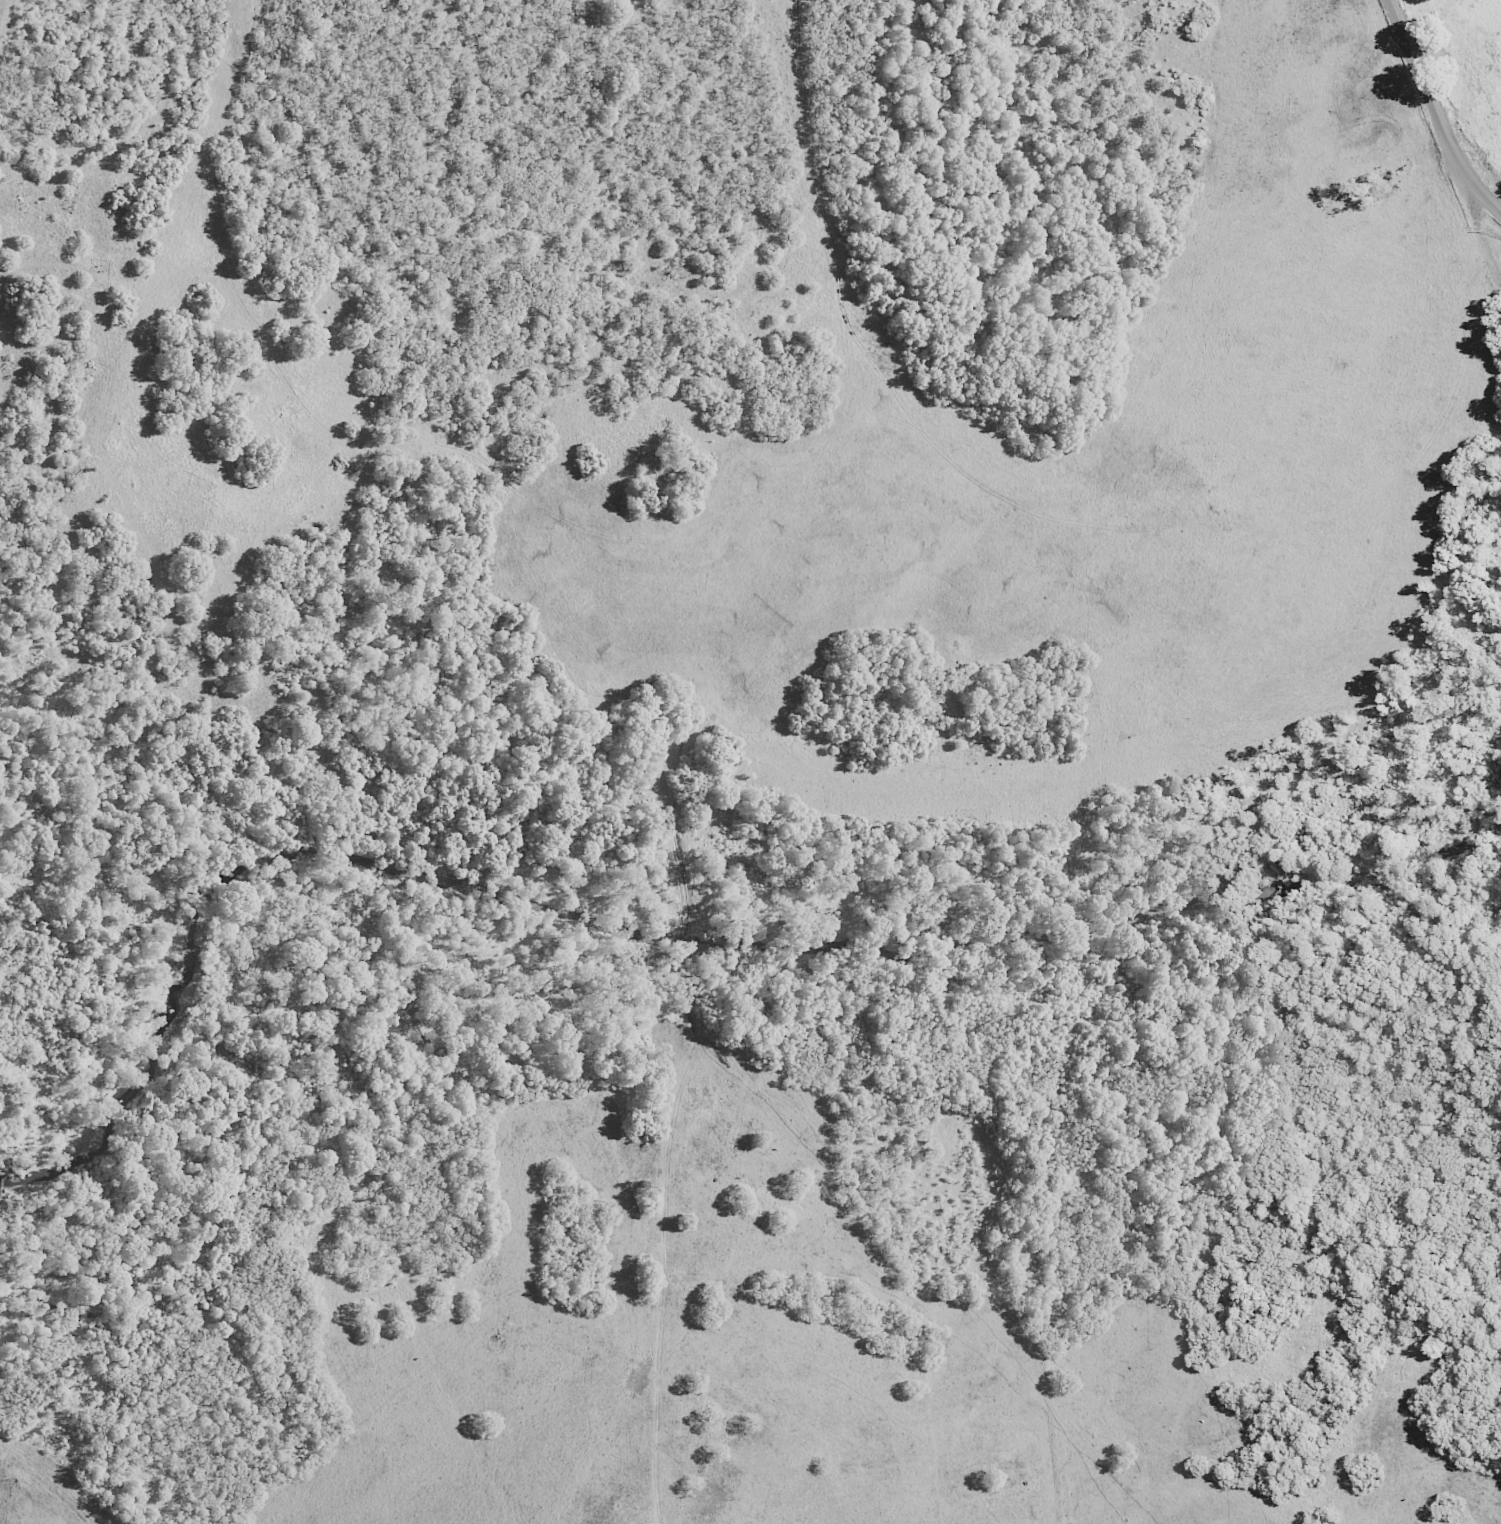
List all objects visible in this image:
road: (1438, 107)

